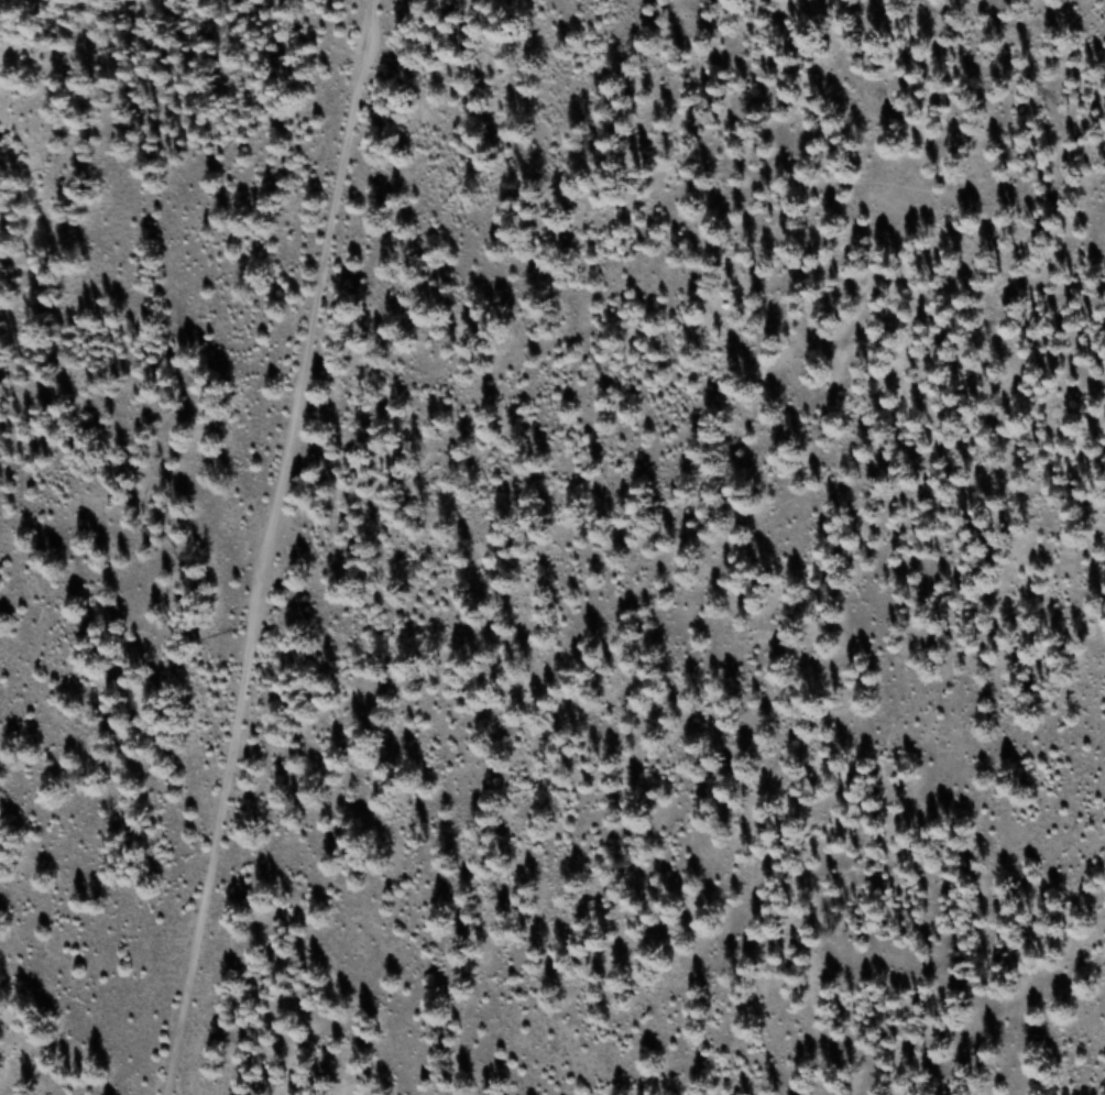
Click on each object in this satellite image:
road: (272, 547)

